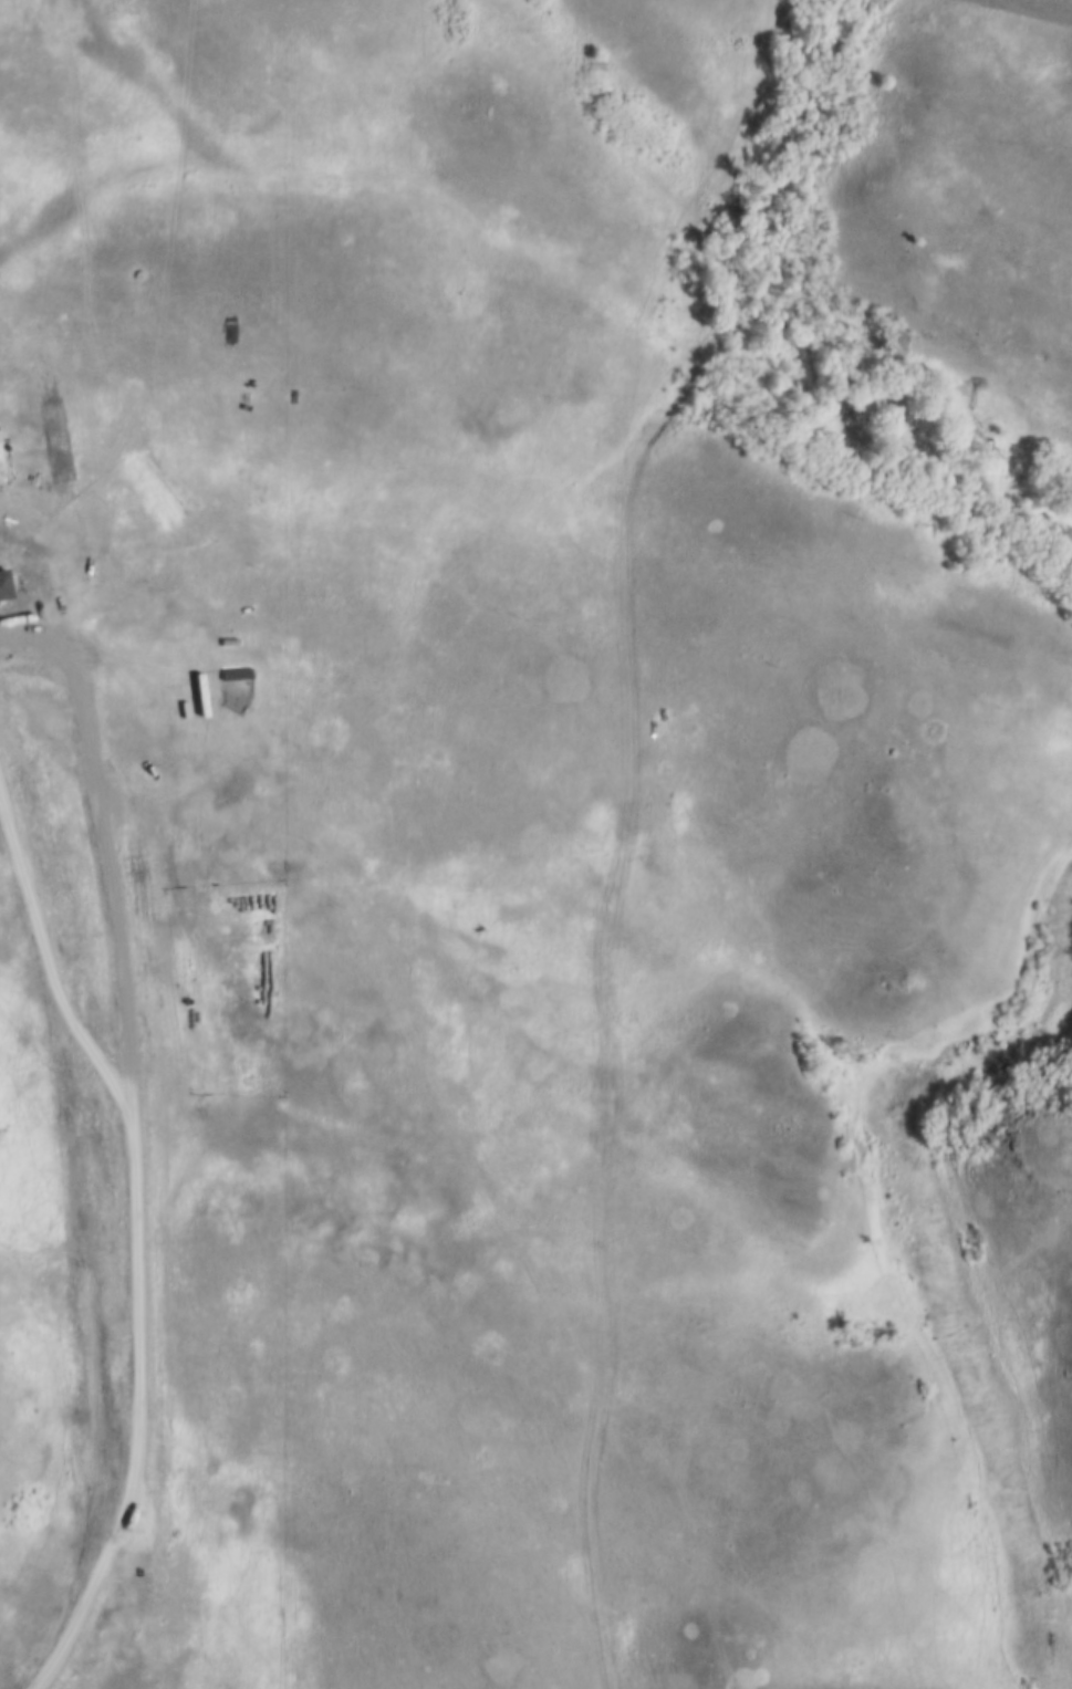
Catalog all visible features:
building: (888, 340)
building: (1, 591)
building: (79, 674)
building: (14, 743)
road: (605, 998)
road: (76, 1243)

